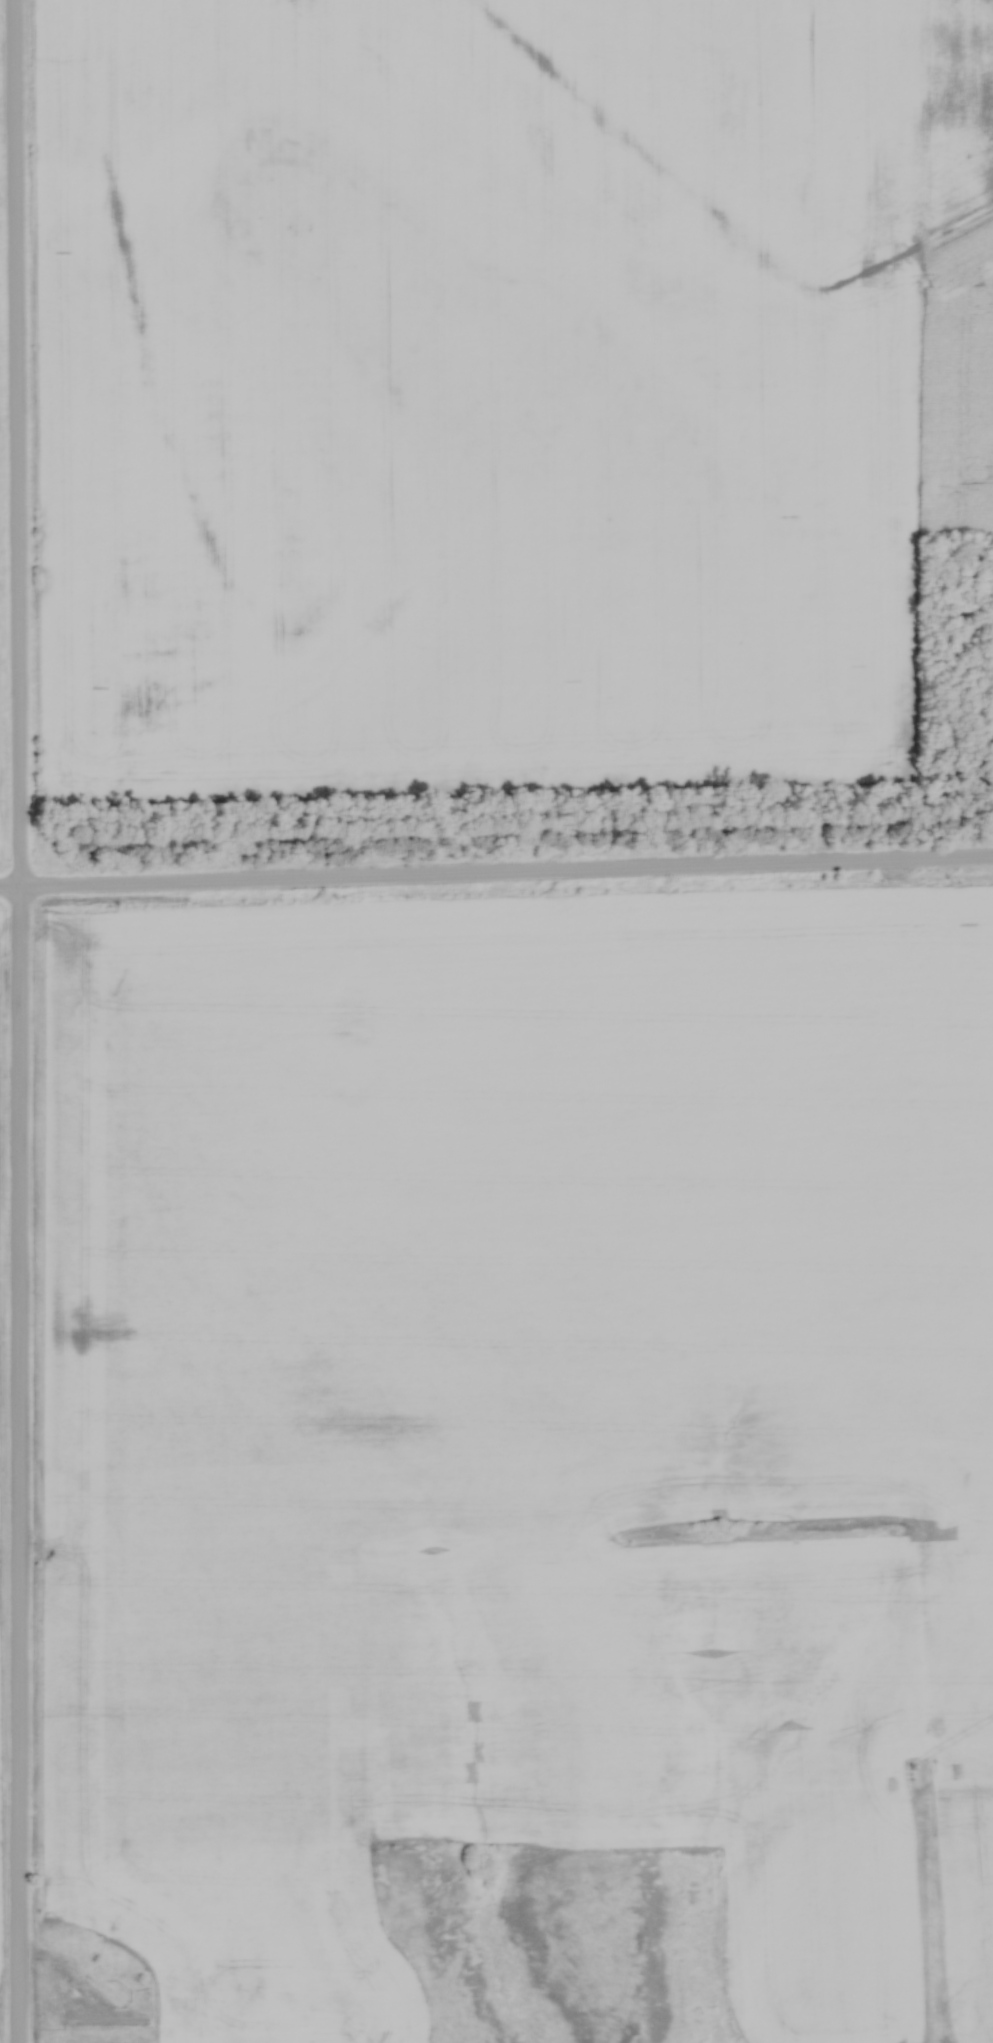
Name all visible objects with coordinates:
building: (989, 744)
road: (496, 875)
road: (19, 1021)

